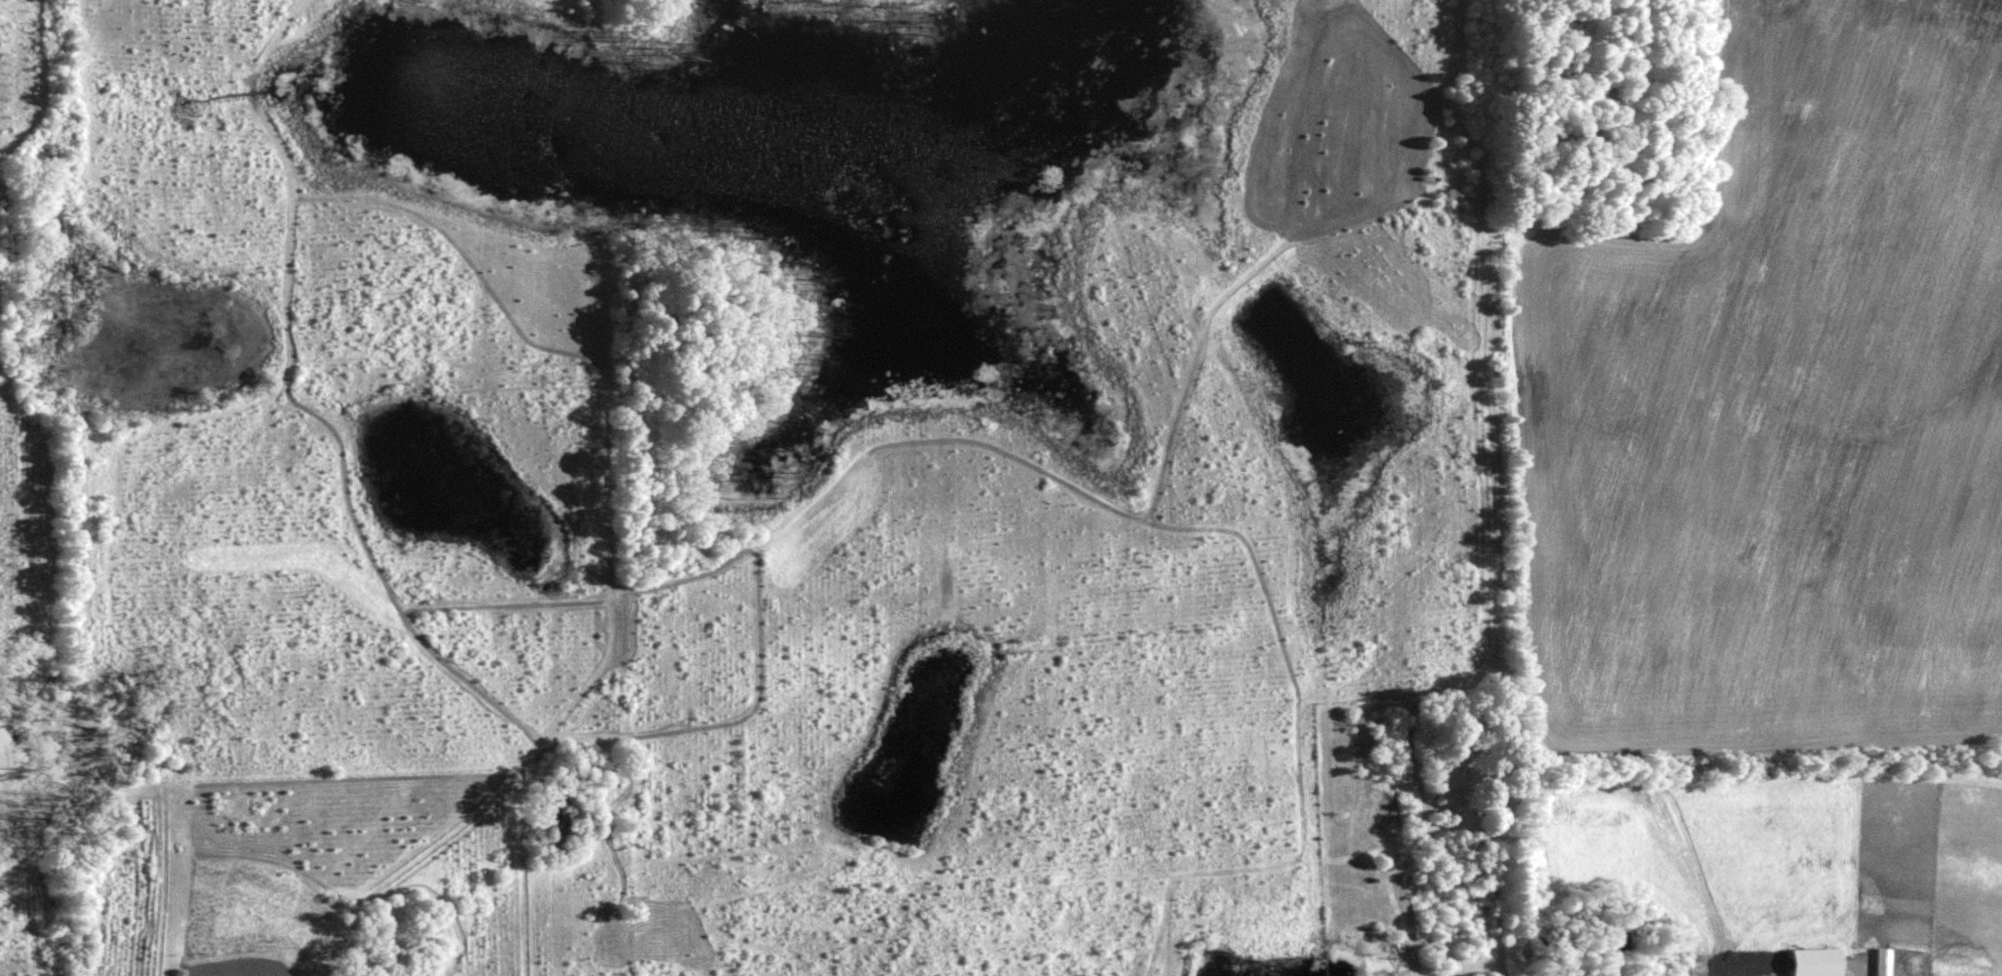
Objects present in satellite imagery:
building: (1815, 960)
building: (1882, 960)

